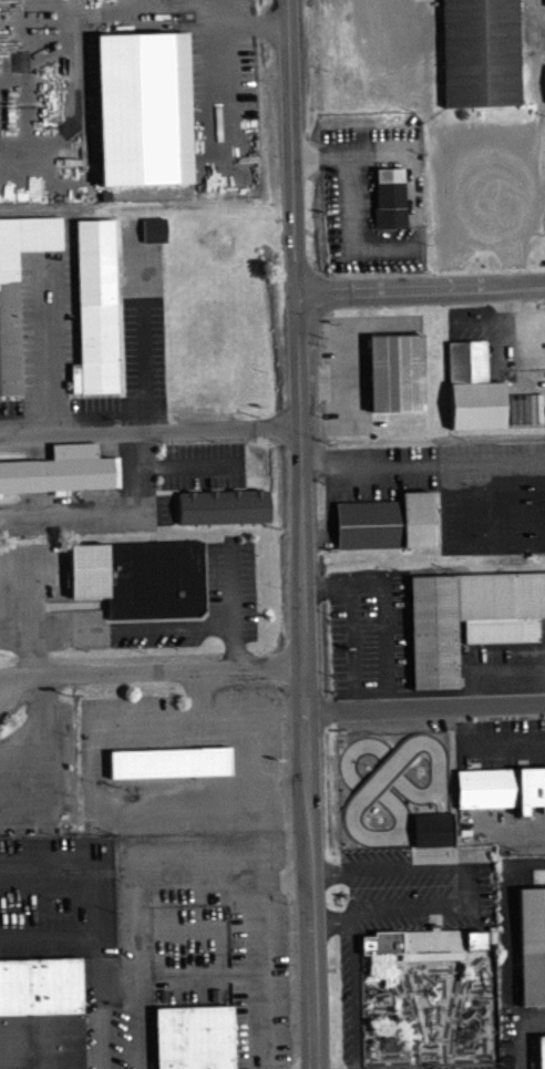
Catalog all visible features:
road: (161, 11)
road: (542, 28)
building: (479, 54)
road: (220, 66)
building: (143, 107)
road: (533, 143)
road: (380, 150)
road: (352, 201)
road: (457, 202)
building: (390, 203)
building: (152, 234)
building: (18, 287)
road: (422, 287)
road: (506, 301)
building: (95, 307)
road: (482, 317)
road: (347, 345)
parking lot: (357, 364)
building: (400, 371)
road: (325, 381)
building: (476, 387)
road: (151, 431)
road: (185, 463)
road: (424, 463)
building: (61, 470)
road: (544, 487)
road: (500, 503)
building: (223, 505)
road: (450, 505)
road: (328, 510)
road: (107, 514)
building: (389, 521)
road: (304, 534)
building: (142, 576)
road: (233, 608)
road: (31, 615)
building: (470, 617)
road: (133, 627)
parking lot: (370, 629)
road: (390, 661)
road: (153, 669)
road: (199, 695)
road: (426, 706)
road: (147, 724)
road: (502, 743)
road: (45, 756)
building: (173, 761)
building: (502, 788)
road: (203, 803)
building: (433, 829)
building: (538, 882)
road: (475, 885)
parking lot: (411, 886)
road: (138, 908)
road: (88, 929)
building: (423, 942)
building: (532, 944)
road: (265, 955)
road: (354, 988)
building: (41, 1014)
road: (521, 1032)
building: (196, 1037)
parking lot: (518, 1039)
building: (541, 1051)
parking lot: (442, 1066)

